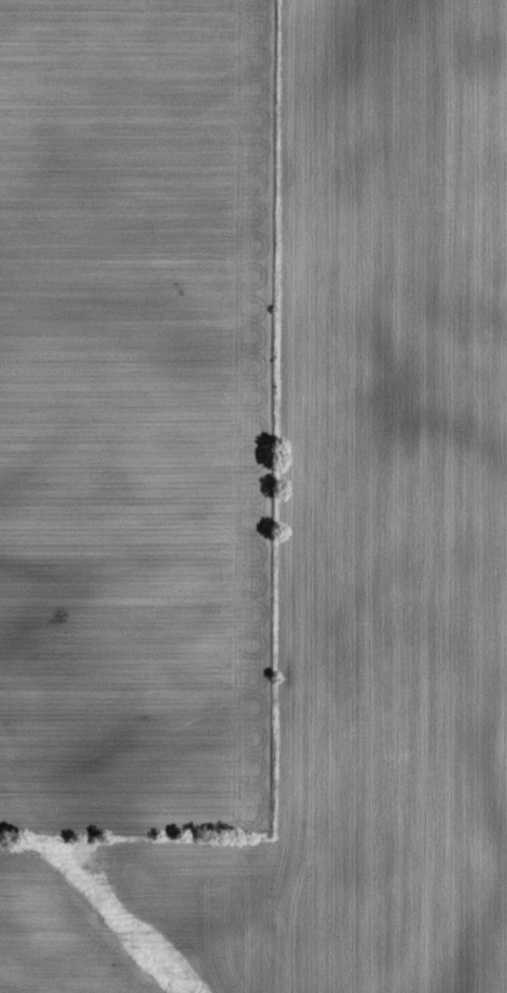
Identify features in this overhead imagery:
crop: (253, 496)

